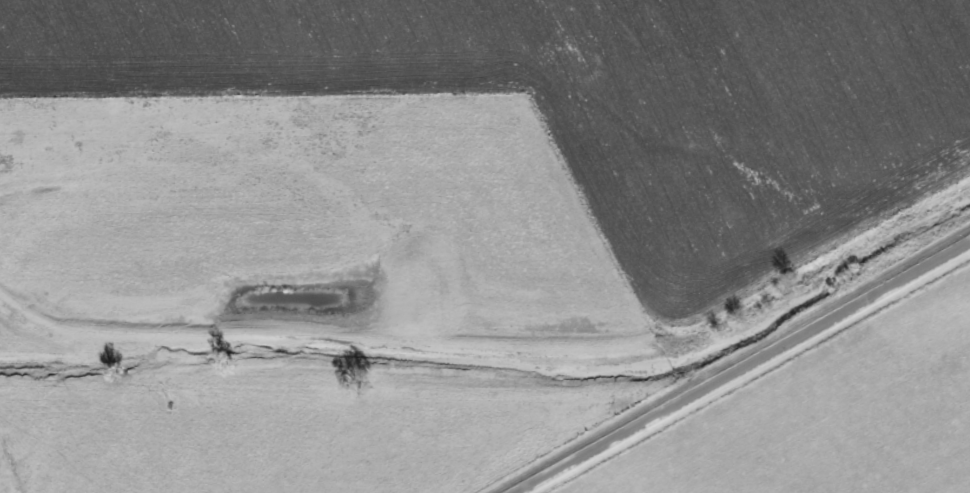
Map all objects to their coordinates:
road: (743, 367)

